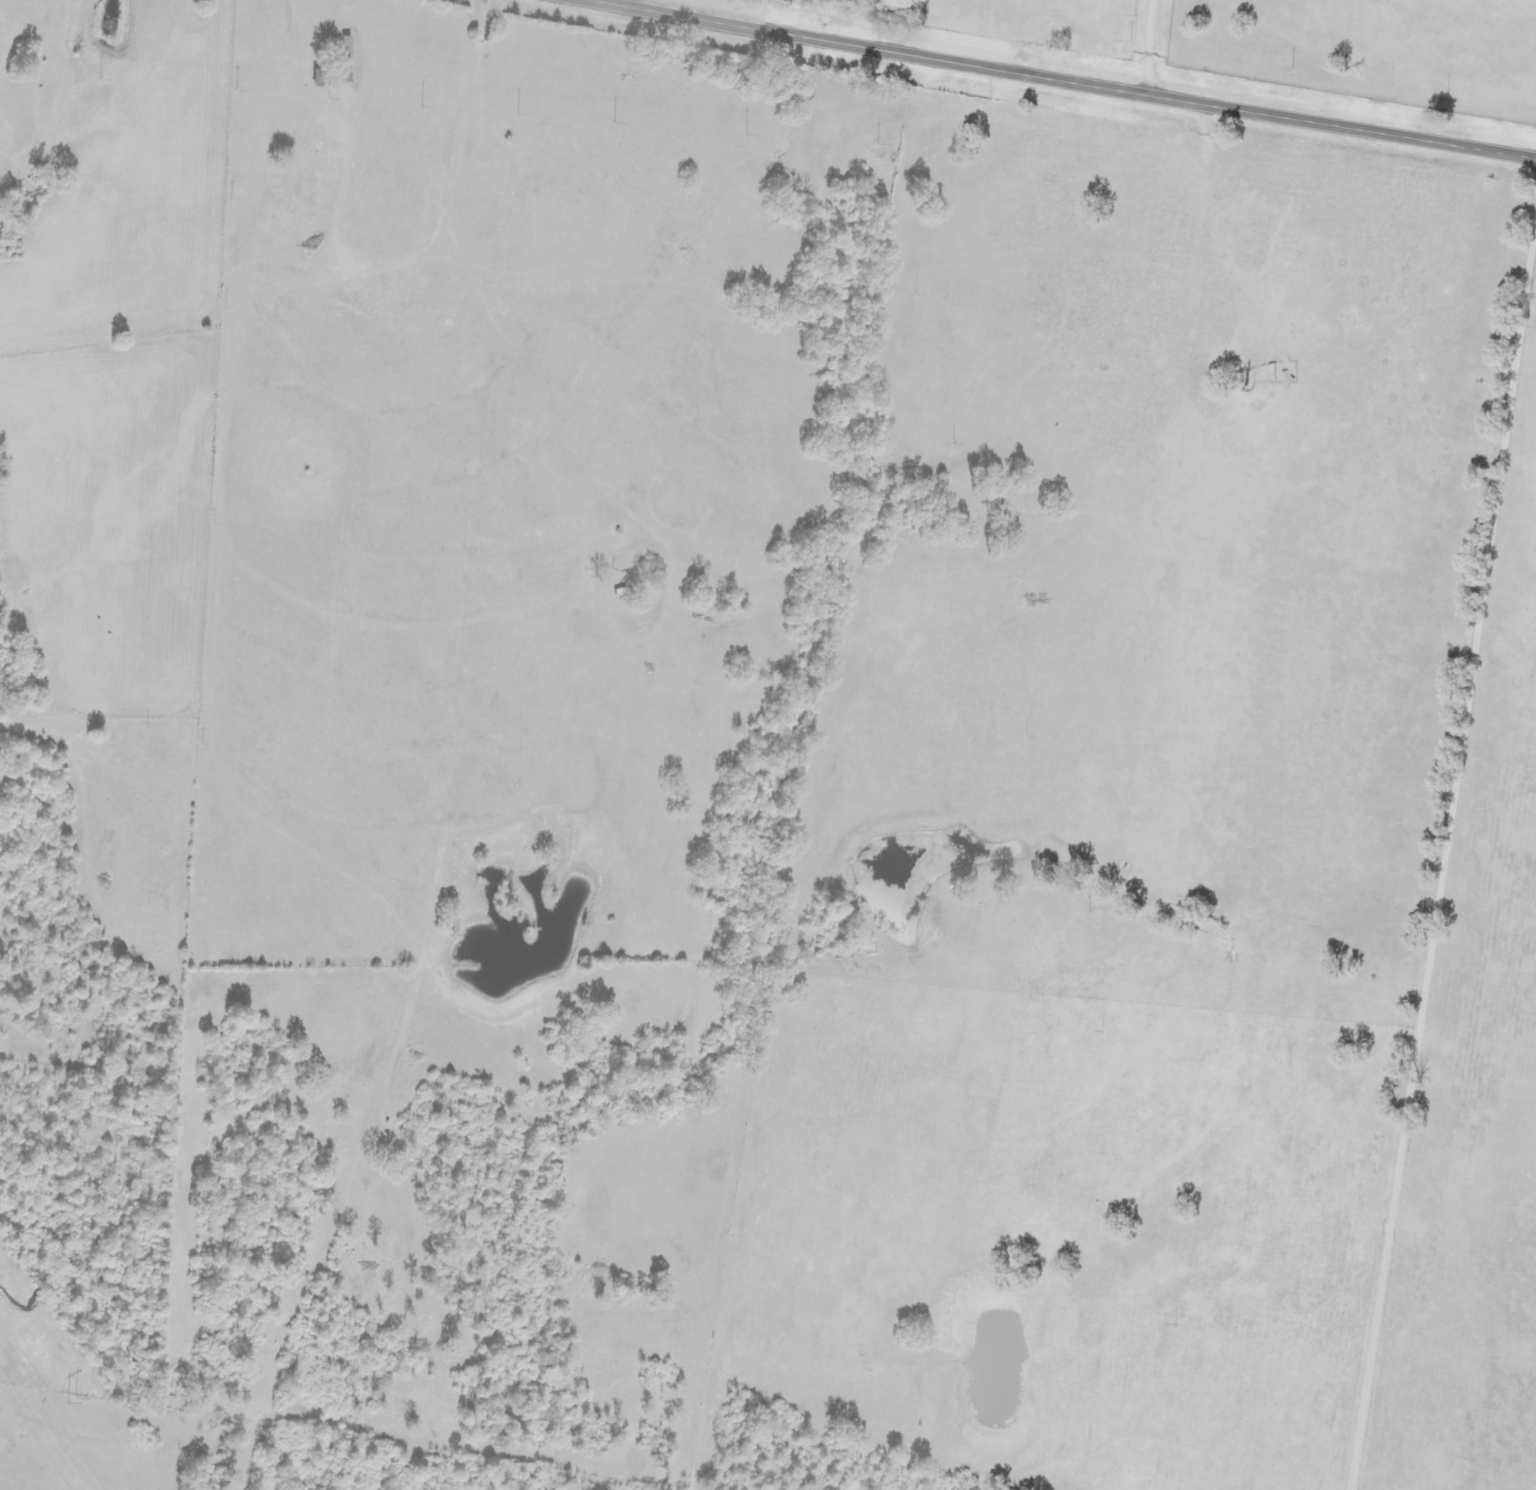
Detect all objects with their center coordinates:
road: (1141, 46)
road: (1064, 79)
road: (1449, 877)
power tower: (53, 1398)

